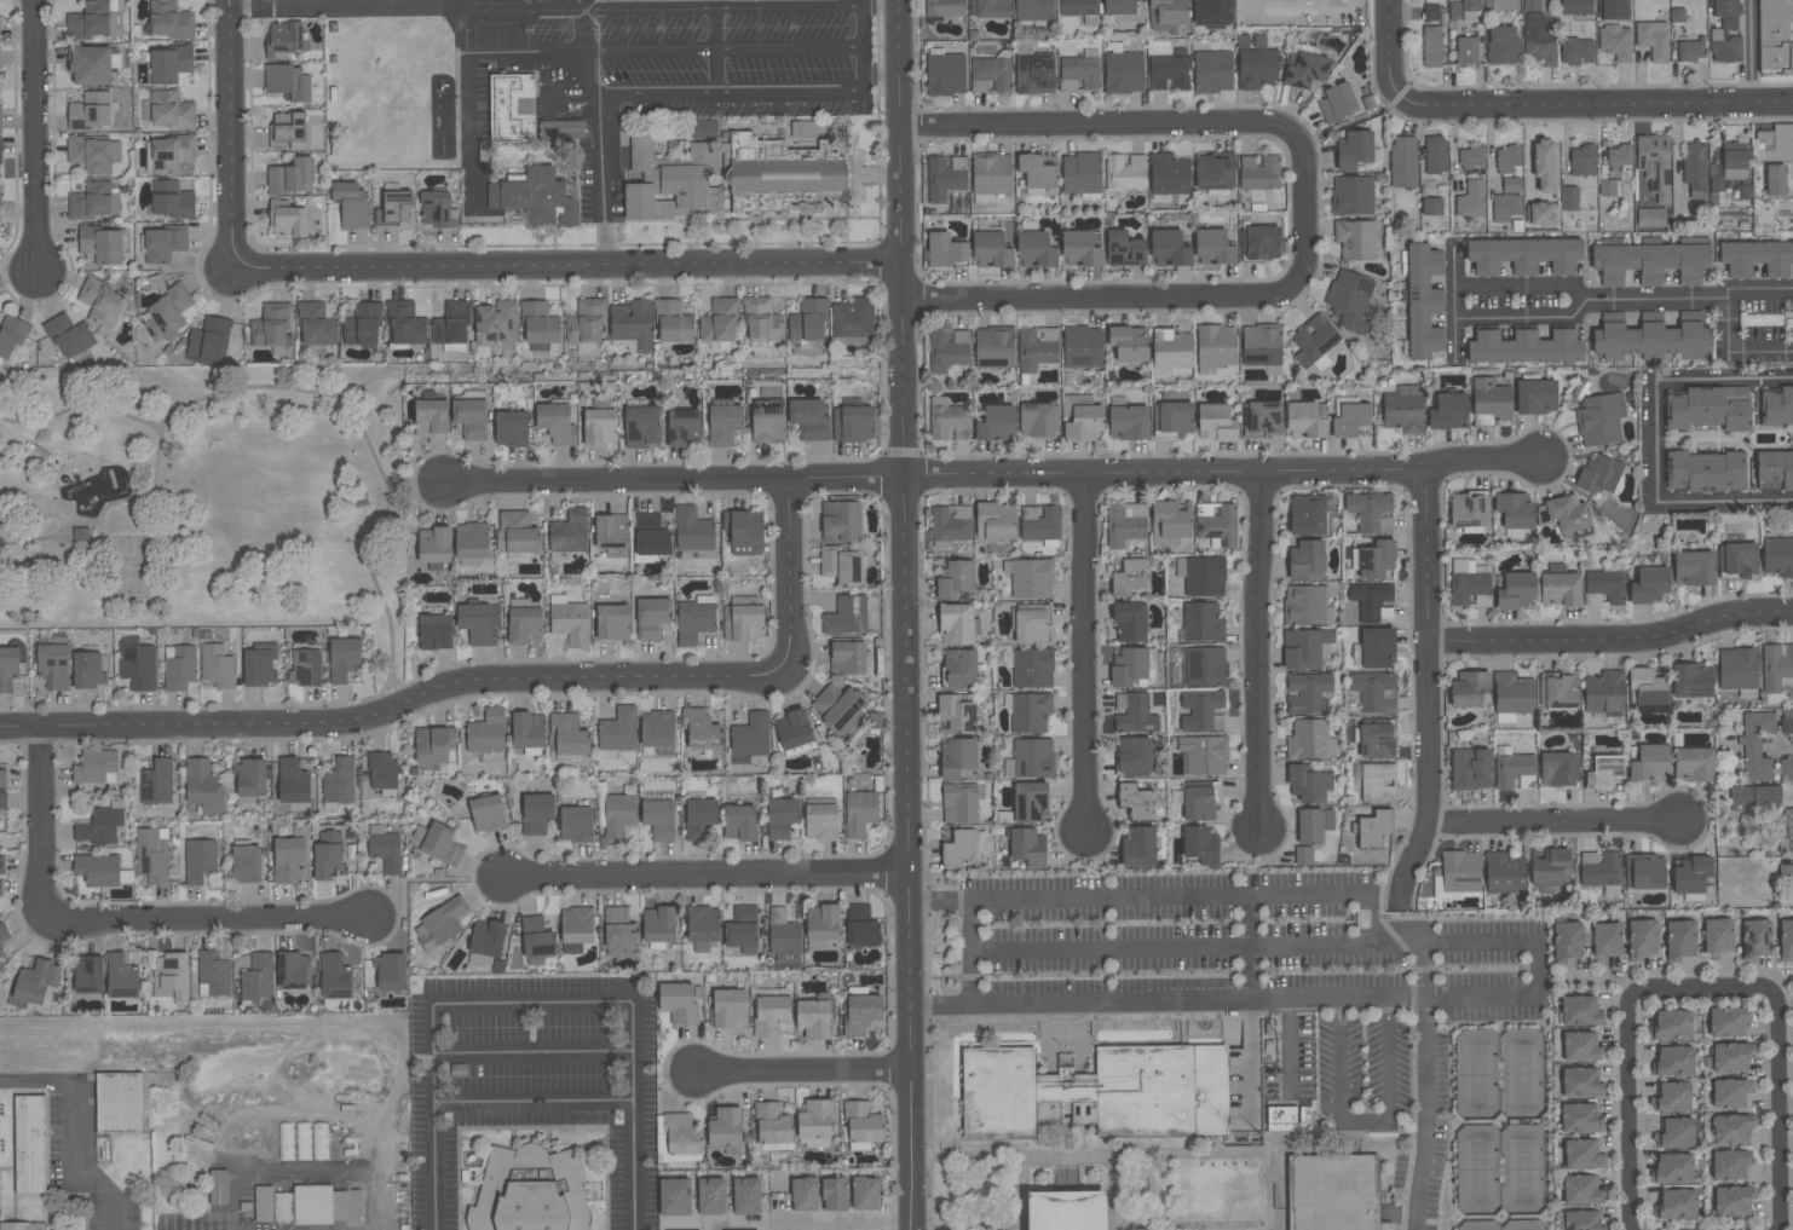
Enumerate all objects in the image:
road: (588, 4)
building: (1505, 5)
building: (1532, 5)
road: (880, 6)
road: (728, 7)
building: (1078, 7)
building: (1576, 7)
road: (338, 8)
road: (518, 8)
building: (945, 8)
building: (991, 8)
road: (1299, 8)
building: (1033, 10)
building: (1124, 10)
building: (1614, 10)
building: (1454, 11)
building: (1471, 11)
building: (1212, 12)
building: (1430, 12)
building: (1725, 13)
building: (1168, 16)
building: (1677, 16)
building: (169, 19)
building: (88, 21)
building: (1775, 36)
building: (287, 37)
building: (1540, 37)
building: (1653, 40)
parking lot: (709, 41)
road: (860, 41)
building: (1615, 42)
building: (1501, 45)
building: (1431, 47)
building: (1724, 48)
building: (1690, 50)
road: (723, 51)
road: (1389, 51)
building: (1466, 51)
building: (1576, 51)
road: (1752, 53)
road: (587, 56)
building: (169, 64)
building: (92, 65)
building: (1257, 67)
road: (467, 69)
building: (1123, 70)
building: (1170, 71)
building: (1212, 71)
building: (1305, 71)
building: (1080, 73)
road: (878, 74)
building: (991, 74)
building: (1033, 74)
building: (945, 75)
building: (288, 82)
road: (740, 94)
building: (1337, 103)
road: (1595, 108)
building: (96, 111)
building: (169, 111)
road: (1097, 126)
building: (564, 129)
building: (704, 129)
building: (287, 132)
road: (36, 138)
road: (231, 139)
building: (1354, 150)
building: (0, 152)
building: (642, 152)
building: (171, 154)
building: (1435, 155)
building: (1471, 157)
road: (1491, 157)
building: (1620, 157)
building: (1507, 158)
building: (1776, 158)
building: (1582, 161)
building: (1734, 161)
building: (1403, 162)
building: (1655, 164)
building: (1546, 166)
building: (1695, 169)
building: (1036, 172)
building: (1124, 172)
building: (1213, 172)
building: (779, 173)
building: (1080, 173)
building: (1258, 173)
building: (1169, 174)
building: (290, 177)
building: (990, 177)
building: (945, 178)
road: (604, 183)
building: (1511, 185)
building: (1609, 187)
building: (675, 191)
building: (1717, 191)
building: (1353, 196)
building: (536, 198)
building: (1568, 198)
building: (171, 200)
building: (1471, 200)
building: (94, 201)
building: (352, 204)
building: (0, 206)
building: (1431, 207)
building: (1505, 207)
building: (393, 209)
building: (437, 210)
road: (1304, 212)
building: (1543, 214)
building: (1650, 218)
building: (288, 221)
building: (1355, 239)
building: (1261, 243)
building: (162, 244)
building: (100, 246)
building: (1213, 247)
building: (1082, 248)
building: (1124, 249)
building: (1169, 249)
building: (946, 250)
building: (991, 250)
building: (1036, 250)
building: (1524, 255)
building: (1757, 258)
building: (1650, 262)
road: (565, 267)
road: (1521, 285)
road: (1760, 288)
road: (1099, 299)
building: (1349, 300)
building: (1423, 301)
road: (1656, 301)
building: (102, 304)
road: (1452, 304)
building: (167, 314)
building: (852, 318)
road: (1522, 319)
building: (761, 321)
building: (808, 321)
road: (1728, 321)
building: (586, 322)
building: (673, 322)
building: (720, 322)
building: (404, 324)
building: (316, 325)
building: (363, 325)
building: (496, 325)
building: (272, 327)
building: (452, 327)
building: (540, 327)
building: (630, 327)
building: (11, 336)
building: (1650, 337)
building: (71, 341)
building: (209, 341)
building: (1315, 342)
building: (1129, 343)
building: (993, 347)
building: (1083, 347)
building: (1215, 347)
building: (1262, 347)
building: (1524, 347)
building: (949, 350)
building: (1171, 350)
building: (1037, 351)
road: (1760, 352)
road: (1724, 379)
building: (1535, 397)
building: (1491, 402)
road: (197, 403)
building: (1777, 408)
building: (1710, 409)
building: (1403, 410)
building: (1448, 412)
building: (431, 417)
building: (471, 418)
building: (1080, 418)
building: (1172, 418)
building: (1263, 418)
building: (809, 420)
building: (1305, 420)
building: (1350, 420)
building: (1601, 420)
building: (1038, 421)
building: (1128, 422)
building: (557, 423)
building: (767, 423)
building: (854, 423)
building: (1216, 423)
building: (723, 425)
building: (996, 425)
building: (599, 427)
building: (641, 427)
building: (682, 428)
building: (511, 429)
road: (1657, 444)
road: (1483, 462)
building: (1775, 468)
building: (1705, 472)
building: (1598, 474)
road: (1161, 475)
road: (673, 481)
road: (416, 484)
road: (1726, 502)
park: (207, 504)
building: (1470, 509)
building: (1370, 512)
building: (1514, 512)
building: (1567, 513)
road: (104, 514)
building: (1307, 515)
building: (994, 521)
building: (841, 522)
building: (1170, 522)
building: (951, 524)
building: (1040, 525)
building: (1125, 525)
building: (1216, 525)
building: (692, 531)
building: (570, 532)
building: (744, 532)
building: (515, 533)
building: (611, 535)
building: (650, 536)
building: (82, 537)
building: (472, 544)
building: (433, 545)
road: (376, 552)
building: (1777, 556)
building: (1737, 559)
building: (1376, 560)
road: (1425, 560)
building: (1307, 561)
building: (841, 566)
building: (1693, 568)
park: (131, 571)
building: (1201, 576)
building: (1129, 578)
road: (790, 579)
building: (955, 579)
building: (1031, 579)
building: (1607, 583)
building: (1469, 584)
building: (1649, 585)
building: (1559, 589)
building: (1515, 591)
building: (1593, 600)
building: (1372, 601)
building: (1307, 606)
road: (903, 614)
building: (846, 616)
building: (651, 618)
building: (694, 619)
building: (570, 622)
building: (1130, 622)
building: (612, 623)
building: (743, 623)
building: (1203, 623)
building: (479, 624)
building: (1031, 624)
building: (524, 625)
building: (957, 625)
building: (434, 633)
road: (1612, 641)
building: (1304, 648)
building: (1377, 648)
road: (1086, 656)
road: (1258, 656)
building: (847, 658)
building: (344, 659)
building: (137, 664)
building: (53, 666)
building: (217, 666)
building: (259, 666)
building: (1205, 666)
building: (8, 668)
building: (179, 668)
building: (305, 668)
building: (1032, 668)
building: (1129, 668)
building: (1776, 668)
building: (959, 669)
building: (1737, 669)
building: (87, 670)
building: (1691, 681)
building: (1647, 687)
building: (1469, 689)
building: (1558, 691)
building: (1374, 692)
building: (1604, 692)
building: (1309, 693)
building: (1512, 697)
road: (397, 708)
building: (840, 710)
building: (1203, 711)
building: (1030, 712)
building: (956, 715)
building: (1136, 716)
building: (1786, 723)
building: (701, 729)
building: (527, 731)
building: (486, 732)
building: (569, 734)
building: (750, 737)
building: (1310, 740)
building: (1376, 741)
building: (433, 745)
building: (1757, 745)
road: (1781, 747)
building: (1132, 756)
building: (1203, 756)
building: (957, 757)
building: (1031, 760)
building: (1649, 764)
building: (1693, 764)
building: (94, 766)
building: (1786, 767)
building: (1511, 768)
building: (1470, 769)
building: (1558, 769)
building: (381, 770)
building: (1604, 773)
building: (2, 779)
road: (1429, 779)
building: (249, 780)
building: (293, 781)
building: (339, 781)
building: (1376, 781)
building: (156, 783)
building: (1308, 784)
building: (203, 787)
building: (1754, 796)
building: (2, 802)
building: (1135, 802)
building: (959, 803)
building: (1030, 803)
building: (1200, 803)
building: (536, 813)
building: (859, 813)
building: (486, 814)
building: (618, 815)
building: (782, 818)
building: (658, 819)
building: (701, 819)
building: (820, 821)
building: (739, 822)
road: (42, 824)
road: (1552, 824)
building: (576, 825)
building: (1314, 825)
building: (99, 826)
building: (1373, 828)
building: (1789, 831)
building: (437, 843)
building: (1200, 845)
building: (1027, 847)
building: (1138, 848)
building: (385, 849)
building: (958, 849)
building: (152, 855)
building: (1303, 855)
building: (328, 856)
building: (288, 860)
building: (200, 861)
building: (246, 864)
building: (1, 866)
building: (1547, 866)
building: (98, 870)
building: (1599, 870)
building: (1460, 872)
building: (1644, 872)
building: (1786, 872)
building: (1504, 873)
building: (1690, 874)
road: (704, 876)
road: (420, 880)
building: (0, 888)
road: (1393, 899)
road: (1384, 900)
road: (938, 902)
road: (208, 920)
building: (439, 924)
building: (821, 924)
building: (702, 926)
building: (860, 926)
building: (658, 928)
building: (576, 929)
building: (4, 932)
building: (619, 932)
building: (784, 935)
building: (1717, 936)
building: (536, 939)
building: (1567, 940)
building: (1642, 940)
building: (1679, 940)
building: (1755, 940)
building: (1786, 941)
building: (485, 942)
building: (1605, 942)
road: (1170, 947)
road: (1251, 948)
building: (1, 954)
building: (292, 970)
building: (391, 972)
building: (88, 975)
building: (213, 975)
building: (121, 976)
building: (171, 976)
building: (258, 978)
road: (1778, 978)
parking lot: (1264, 980)
road: (1603, 981)
building: (36, 982)
road: (1702, 989)
road: (1258, 1000)
road: (534, 1003)
building: (678, 1003)
road: (939, 1005)
building: (728, 1007)
building: (1580, 1011)
building: (861, 1014)
building: (771, 1015)
building: (814, 1018)
building: (1728, 1021)
building: (1671, 1026)
road: (1057, 1041)
building: (1580, 1047)
road: (532, 1053)
building: (1731, 1057)
building: (1674, 1061)
road: (802, 1070)
park: (1501, 1078)
building: (1581, 1082)
road: (1426, 1087)
building: (1731, 1093)
building: (1118, 1096)
building: (1673, 1097)
road: (1082, 1098)
road: (532, 1103)
building: (120, 1107)
road: (1778, 1109)
road: (1630, 1111)
building: (1282, 1115)
building: (1580, 1119)
building: (814, 1121)
road: (1453, 1122)
building: (863, 1124)
road: (1365, 1124)
road: (75, 1126)
building: (772, 1126)
building: (725, 1127)
building: (1280, 1128)
building: (1733, 1128)
road: (1459, 1130)
road: (1501, 1132)
building: (1677, 1132)
building: (676, 1139)
building: (253, 1141)
building: (286, 1142)
building: (302, 1142)
building: (319, 1142)
road: (1338, 1142)
building: (29, 1149)
building: (1582, 1154)
road: (1128, 1156)
building: (1730, 1165)
building: (1673, 1168)
road: (309, 1171)
park: (1501, 1172)
building: (218, 1188)
building: (1581, 1190)
building: (530, 1193)
building: (834, 1194)
building: (865, 1194)
road: (1022, 1194)
road: (1111, 1194)
building: (1333, 1194)
building: (805, 1195)
building: (710, 1196)
building: (746, 1196)
building: (675, 1197)
building: (1733, 1200)
building: (1677, 1205)
building: (264, 1208)
building: (324, 1209)
building: (283, 1211)
building: (1067, 1211)
building: (1581, 1220)
road: (1492, 1222)
road: (792, 1226)
park: (1526, 1226)
building: (23, 1228)
road: (714, 1228)
road: (828, 1228)
road: (1190, 1228)
road: (1458, 1228)
park: (1480, 1228)
road: (1066, 1229)
road: (1503, 1229)

